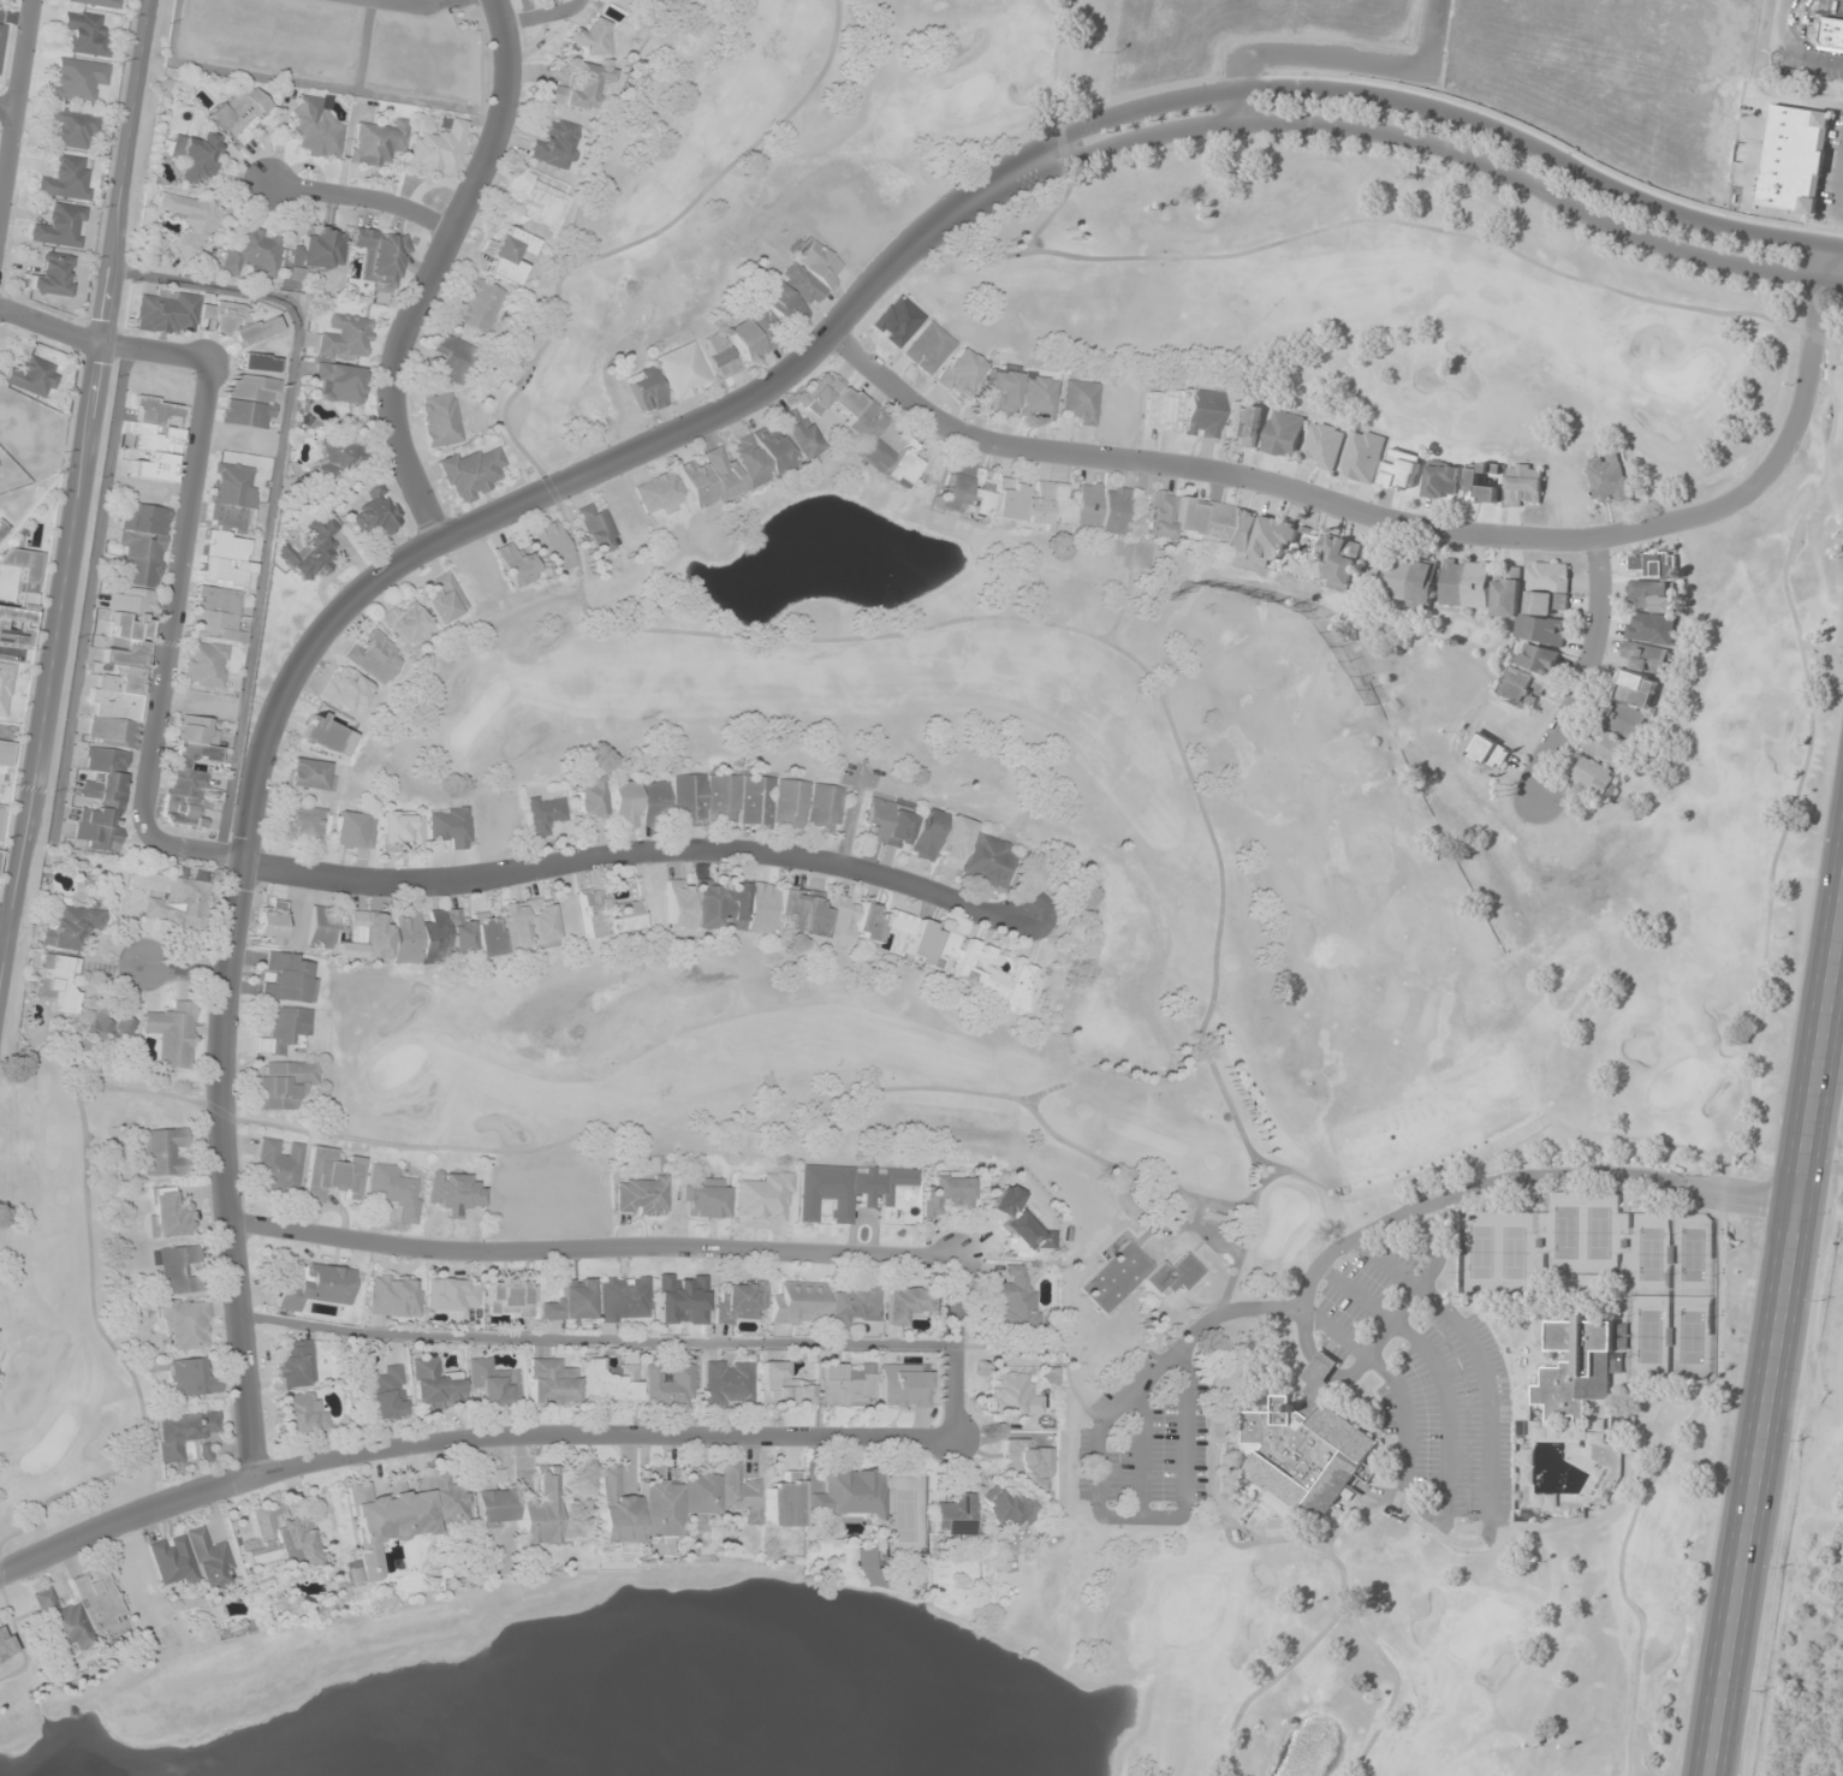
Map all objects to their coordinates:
building: (99, 2)
road: (406, 4)
road: (542, 16)
building: (87, 32)
building: (1831, 34)
building: (1, 38)
building: (588, 38)
road: (363, 43)
road: (1337, 60)
building: (78, 78)
building: (577, 88)
road: (14, 102)
road: (7, 106)
building: (240, 112)
building: (73, 126)
building: (316, 127)
building: (377, 143)
building: (555, 144)
building: (439, 149)
building: (195, 155)
road: (1039, 156)
building: (1795, 159)
building: (66, 178)
road: (364, 201)
building: (539, 204)
building: (190, 220)
building: (61, 226)
building: (319, 249)
building: (254, 254)
building: (380, 255)
building: (509, 255)
road: (434, 268)
building: (811, 273)
building: (52, 275)
building: (477, 305)
building: (198, 317)
building: (766, 322)
building: (345, 338)
building: (928, 348)
building: (718, 355)
building: (452, 358)
building: (682, 370)
building: (959, 372)
building: (34, 376)
building: (340, 382)
building: (1000, 388)
building: (646, 390)
building: (1038, 398)
building: (249, 402)
building: (1080, 402)
building: (1161, 409)
building: (159, 411)
building: (1202, 414)
building: (440, 420)
building: (1243, 424)
building: (866, 428)
building: (1283, 433)
building: (1324, 445)
building: (343, 453)
building: (1363, 456)
building: (750, 459)
building: (145, 464)
building: (1401, 470)
building: (472, 474)
building: (1609, 477)
building: (1481, 481)
building: (1441, 482)
building: (1523, 485)
building: (659, 491)
road: (75, 494)
building: (231, 498)
building: (1021, 499)
building: (1114, 510)
building: (375, 515)
road: (1397, 524)
building: (1220, 525)
building: (2, 528)
building: (598, 529)
building: (553, 547)
building: (313, 551)
building: (1339, 560)
building: (516, 564)
building: (1411, 581)
building: (1653, 581)
building: (1466, 584)
building: (445, 599)
building: (19, 600)
building: (1535, 601)
building: (215, 614)
building: (404, 622)
building: (126, 628)
road: (321, 630)
building: (1649, 643)
building: (373, 655)
building: (1539, 659)
building: (203, 664)
road: (1586, 671)
building: (5, 687)
building: (1521, 687)
building: (1635, 688)
building: (345, 690)
building: (1623, 720)
building: (321, 732)
building: (1607, 748)
building: (1485, 752)
building: (190, 771)
building: (310, 774)
building: (1592, 776)
building: (102, 798)
building: (688, 798)
building: (590, 802)
building: (653, 803)
building: (623, 804)
building: (824, 808)
building: (545, 813)
road: (850, 816)
building: (888, 822)
building: (301, 824)
building: (450, 826)
building: (402, 828)
building: (352, 830)
building: (926, 834)
building: (953, 842)
building: (988, 860)
road: (250, 862)
building: (174, 897)
building: (678, 904)
building: (784, 911)
building: (628, 913)
building: (541, 922)
building: (69, 923)
building: (513, 925)
building: (268, 926)
road: (4, 933)
building: (405, 935)
road: (186, 968)
building: (983, 972)
building: (286, 978)
building: (59, 984)
building: (113, 1028)
building: (285, 1030)
building: (173, 1033)
building: (284, 1083)
building: (164, 1152)
building: (279, 1164)
building: (331, 1174)
building: (393, 1190)
building: (945, 1193)
building: (454, 1194)
building: (641, 1196)
building: (763, 1198)
building: (703, 1199)
building: (168, 1213)
road: (679, 1247)
building: (177, 1270)
building: (1135, 1277)
building: (314, 1287)
building: (451, 1293)
building: (391, 1296)
building: (623, 1297)
building: (507, 1299)
building: (1012, 1300)
building: (570, 1301)
building: (739, 1302)
building: (796, 1303)
building: (852, 1305)
building: (903, 1305)
building: (184, 1323)
road: (1780, 1340)
building: (293, 1365)
building: (1580, 1365)
building: (188, 1378)
building: (608, 1382)
building: (492, 1383)
building: (549, 1383)
building: (726, 1383)
building: (668, 1384)
building: (781, 1384)
building: (845, 1384)
building: (434, 1385)
building: (902, 1386)
building: (386, 1392)
building: (1012, 1396)
building: (301, 1413)
building: (182, 1432)
road: (465, 1436)
building: (1307, 1449)
building: (1024, 1463)
building: (848, 1492)
building: (493, 1498)
building: (697, 1499)
building: (783, 1501)
building: (537, 1509)
building: (614, 1509)
building: (1004, 1509)
building: (951, 1516)
building: (398, 1519)
building: (275, 1539)
building: (208, 1558)
building: (171, 1560)
building: (78, 1611)
building: (4, 1645)

